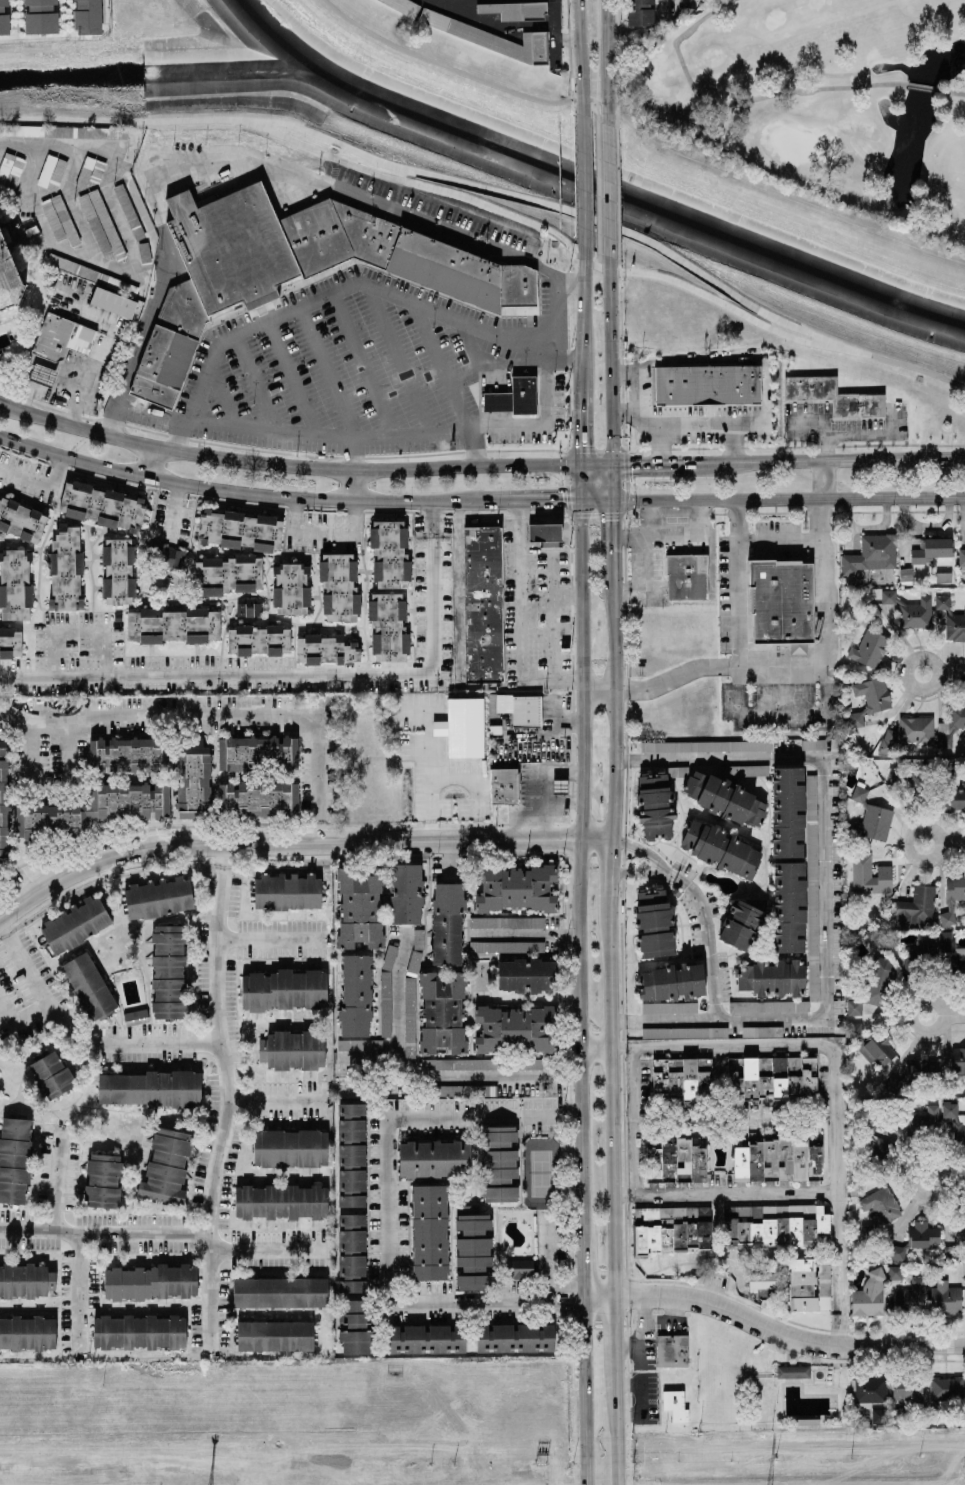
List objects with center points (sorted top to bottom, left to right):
road: (676, 2)
building: (403, 5)
building: (515, 9)
building: (640, 12)
building: (40, 16)
building: (87, 16)
building: (4, 18)
road: (489, 23)
river: (266, 31)
road: (555, 34)
building: (492, 36)
road: (568, 38)
road: (581, 49)
road: (607, 54)
river: (145, 69)
road: (463, 72)
park: (320, 98)
park: (822, 99)
building: (57, 131)
road: (54, 144)
road: (213, 156)
building: (10, 168)
road: (585, 173)
road: (436, 176)
road: (416, 181)
road: (609, 182)
road: (598, 184)
road: (420, 196)
river: (626, 196)
building: (129, 211)
building: (59, 219)
building: (100, 223)
road: (458, 236)
building: (144, 251)
road: (598, 257)
road: (584, 261)
building: (295, 268)
park: (782, 269)
building: (8, 277)
road: (325, 295)
building: (113, 302)
road: (722, 303)
road: (556, 317)
road: (586, 320)
road: (144, 329)
building: (61, 337)
road: (504, 359)
road: (405, 360)
road: (611, 360)
road: (367, 364)
road: (439, 364)
road: (905, 365)
road: (331, 372)
building: (42, 374)
gas station: (43, 374)
road: (480, 377)
road: (294, 378)
road: (258, 383)
road: (635, 385)
building: (707, 385)
road: (57, 390)
road: (223, 395)
road: (497, 395)
building: (834, 395)
building: (514, 396)
road: (945, 418)
road: (689, 420)
road: (543, 422)
road: (586, 429)
road: (294, 434)
road: (850, 434)
road: (658, 443)
road: (730, 443)
road: (946, 447)
road: (824, 449)
road: (352, 453)
road: (825, 462)
road: (150, 463)
road: (289, 464)
traffic signals: (586, 466)
road: (599, 466)
traffic signals: (612, 466)
road: (649, 466)
road: (822, 480)
road: (586, 482)
road: (612, 483)
road: (39, 484)
road: (351, 484)
road: (244, 492)
road: (788, 498)
road: (540, 499)
traffic signals: (586, 499)
road: (599, 499)
traffic signals: (612, 500)
building: (102, 505)
road: (172, 509)
road: (697, 516)
road: (649, 517)
building: (21, 520)
building: (240, 529)
road: (319, 532)
road: (655, 533)
building: (545, 534)
road: (613, 534)
road: (780, 542)
building: (931, 548)
building: (390, 553)
building: (872, 553)
building: (166, 556)
building: (961, 556)
building: (65, 569)
building: (118, 570)
building: (229, 574)
building: (687, 575)
road: (645, 576)
building: (943, 576)
road: (738, 583)
building: (15, 584)
building: (339, 587)
road: (434, 587)
building: (291, 588)
road: (568, 598)
building: (783, 602)
building: (484, 604)
building: (249, 607)
building: (911, 610)
building: (872, 611)
road: (552, 616)
building: (951, 619)
road: (518, 621)
building: (174, 624)
building: (388, 627)
road: (80, 630)
building: (258, 639)
building: (10, 642)
building: (325, 648)
building: (870, 648)
road: (799, 666)
road: (584, 668)
road: (952, 672)
road: (216, 675)
road: (906, 683)
road: (599, 690)
building: (870, 698)
road: (614, 704)
road: (227, 706)
building: (527, 709)
building: (950, 724)
building: (462, 726)
building: (909, 733)
building: (814, 743)
building: (706, 745)
building: (125, 752)
building: (257, 752)
road: (429, 761)
building: (743, 769)
building: (678, 771)
building: (910, 776)
building: (193, 778)
road: (450, 778)
road: (540, 781)
building: (505, 785)
building: (560, 786)
road: (50, 788)
building: (952, 790)
building: (725, 798)
building: (258, 799)
building: (4, 802)
road: (561, 802)
building: (655, 805)
building: (96, 808)
building: (787, 809)
building: (871, 815)
road: (296, 840)
road: (953, 844)
building: (721, 847)
road: (640, 848)
road: (924, 860)
road: (611, 865)
road: (636, 872)
building: (870, 875)
road: (827, 884)
building: (812, 885)
building: (515, 888)
road: (226, 889)
building: (287, 891)
building: (406, 892)
building: (159, 897)
building: (952, 897)
building: (788, 904)
building: (359, 906)
building: (916, 906)
building: (507, 921)
building: (447, 922)
building: (654, 922)
building: (742, 922)
building: (76, 924)
road: (521, 935)
road: (570, 936)
road: (703, 936)
road: (277, 937)
building: (888, 941)
building: (507, 946)
building: (920, 950)
building: (953, 952)
road: (29, 960)
building: (168, 971)
building: (527, 974)
building: (773, 976)
building: (671, 979)
building: (874, 985)
building: (89, 986)
building: (386, 988)
building: (284, 989)
building: (355, 995)
building: (670, 1007)
building: (442, 1012)
road: (953, 1014)
building: (136, 1016)
road: (69, 1022)
road: (21, 1023)
building: (409, 1024)
building: (516, 1028)
road: (910, 1028)
building: (685, 1031)
building: (762, 1031)
road: (580, 1036)
road: (154, 1039)
road: (842, 1040)
building: (873, 1042)
building: (360, 1044)
road: (596, 1047)
building: (292, 1049)
building: (527, 1063)
building: (460, 1064)
building: (955, 1069)
road: (404, 1071)
building: (51, 1074)
building: (914, 1074)
road: (562, 1076)
building: (682, 1076)
building: (773, 1080)
building: (152, 1088)
building: (462, 1090)
road: (612, 1092)
road: (279, 1098)
road: (551, 1115)
building: (920, 1121)
building: (955, 1123)
road: (224, 1139)
building: (873, 1145)
building: (290, 1147)
road: (394, 1151)
building: (434, 1158)
building: (15, 1159)
building: (780, 1160)
building: (678, 1161)
building: (499, 1163)
building: (166, 1166)
building: (102, 1179)
road: (954, 1180)
road: (913, 1188)
road: (61, 1196)
building: (281, 1201)
building: (880, 1204)
building: (774, 1224)
building: (954, 1228)
building: (352, 1229)
building: (671, 1229)
building: (429, 1231)
building: (868, 1231)
road: (157, 1236)
building: (917, 1239)
building: (955, 1243)
building: (473, 1249)
road: (547, 1255)
road: (582, 1265)
building: (518, 1268)
road: (845, 1269)
building: (895, 1271)
building: (25, 1280)
building: (762, 1280)
building: (151, 1282)
building: (809, 1283)
building: (280, 1291)
building: (943, 1293)
road: (599, 1294)
building: (869, 1294)
road: (561, 1296)
building: (911, 1297)
road: (469, 1301)
road: (669, 1320)
road: (641, 1328)
building: (139, 1331)
building: (27, 1332)
building: (275, 1335)
building: (515, 1336)
building: (426, 1337)
road: (617, 1337)
road: (787, 1337)
building: (673, 1350)
building: (794, 1371)
building: (907, 1388)
road: (582, 1390)
building: (943, 1393)
building: (871, 1396)
road: (642, 1397)
building: (675, 1405)
building: (897, 1413)
road: (618, 1433)

